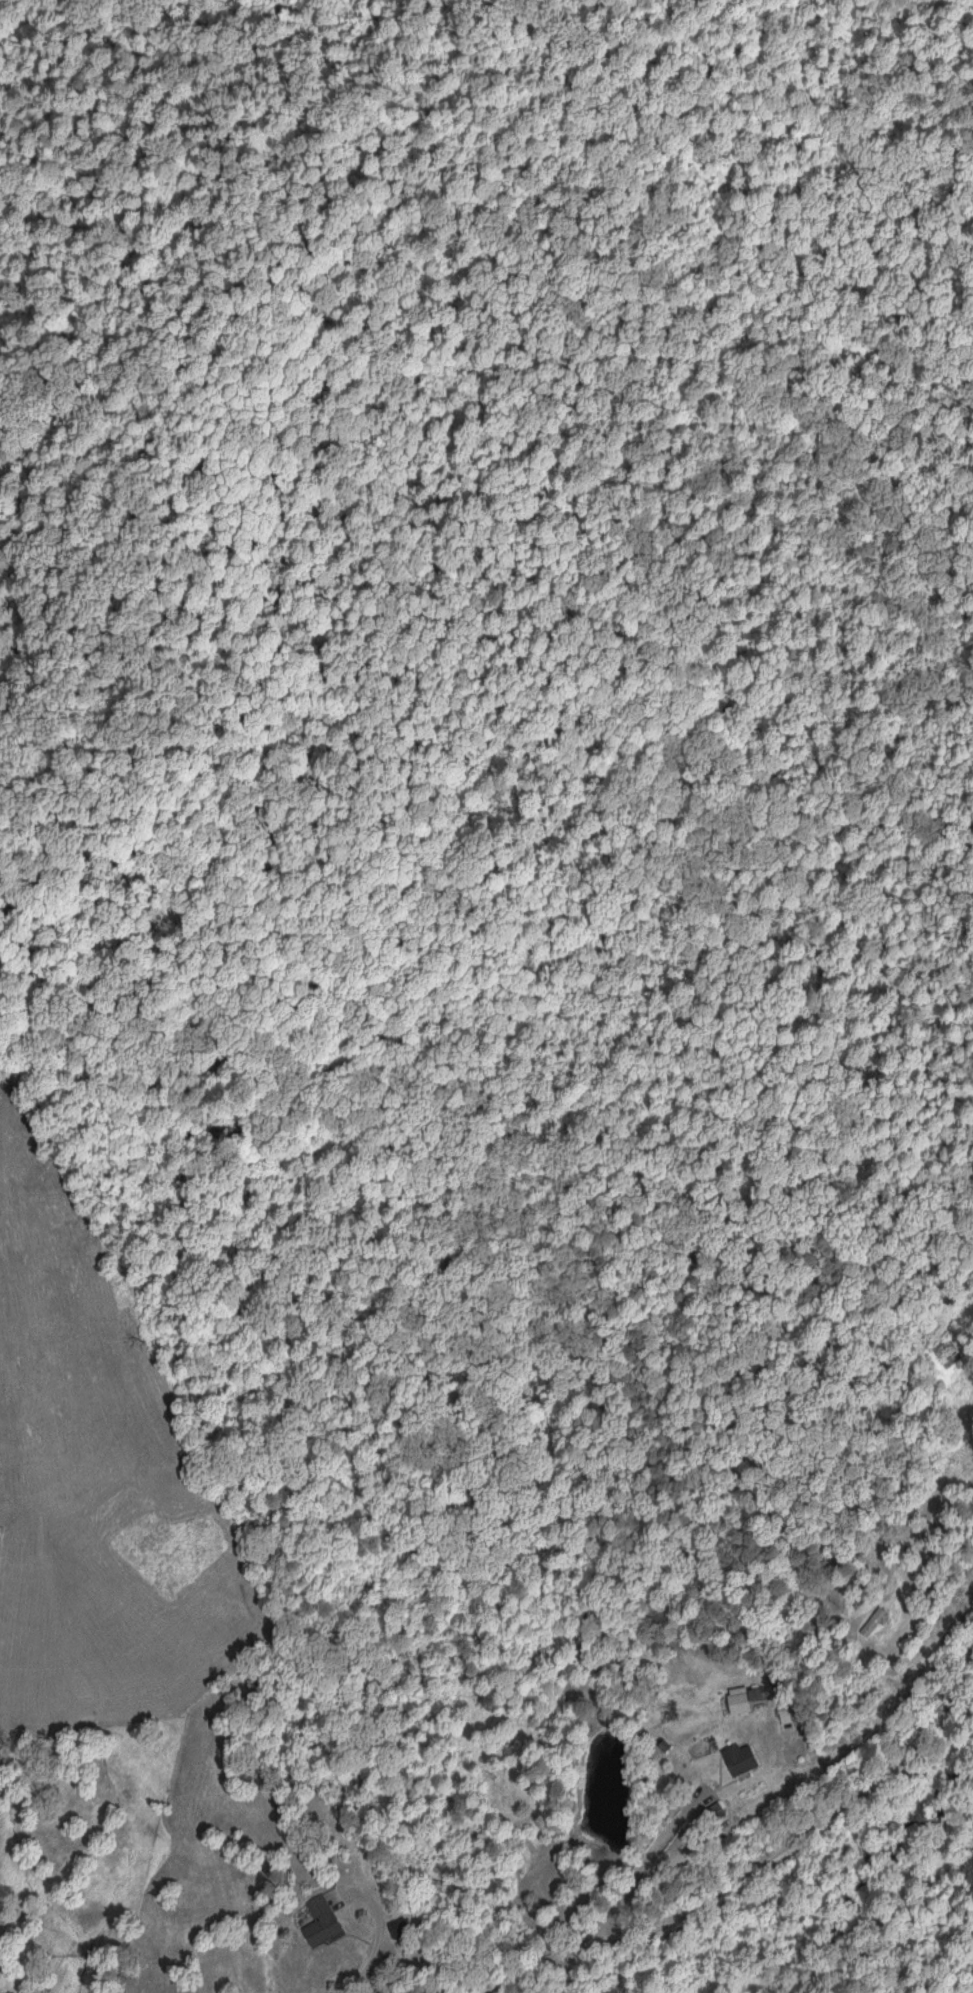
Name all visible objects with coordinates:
building: (871, 1623)
building: (756, 1699)
building: (781, 1713)
building: (740, 1759)
building: (711, 1812)
road: (753, 1870)
road: (640, 1875)
building: (320, 1920)
building: (396, 1927)
road: (384, 1938)

